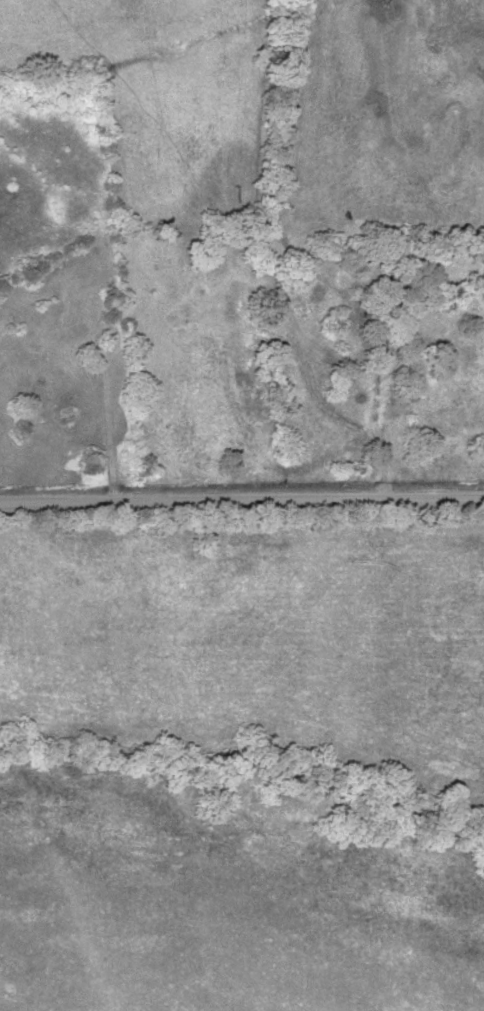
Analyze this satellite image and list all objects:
road: (242, 501)

